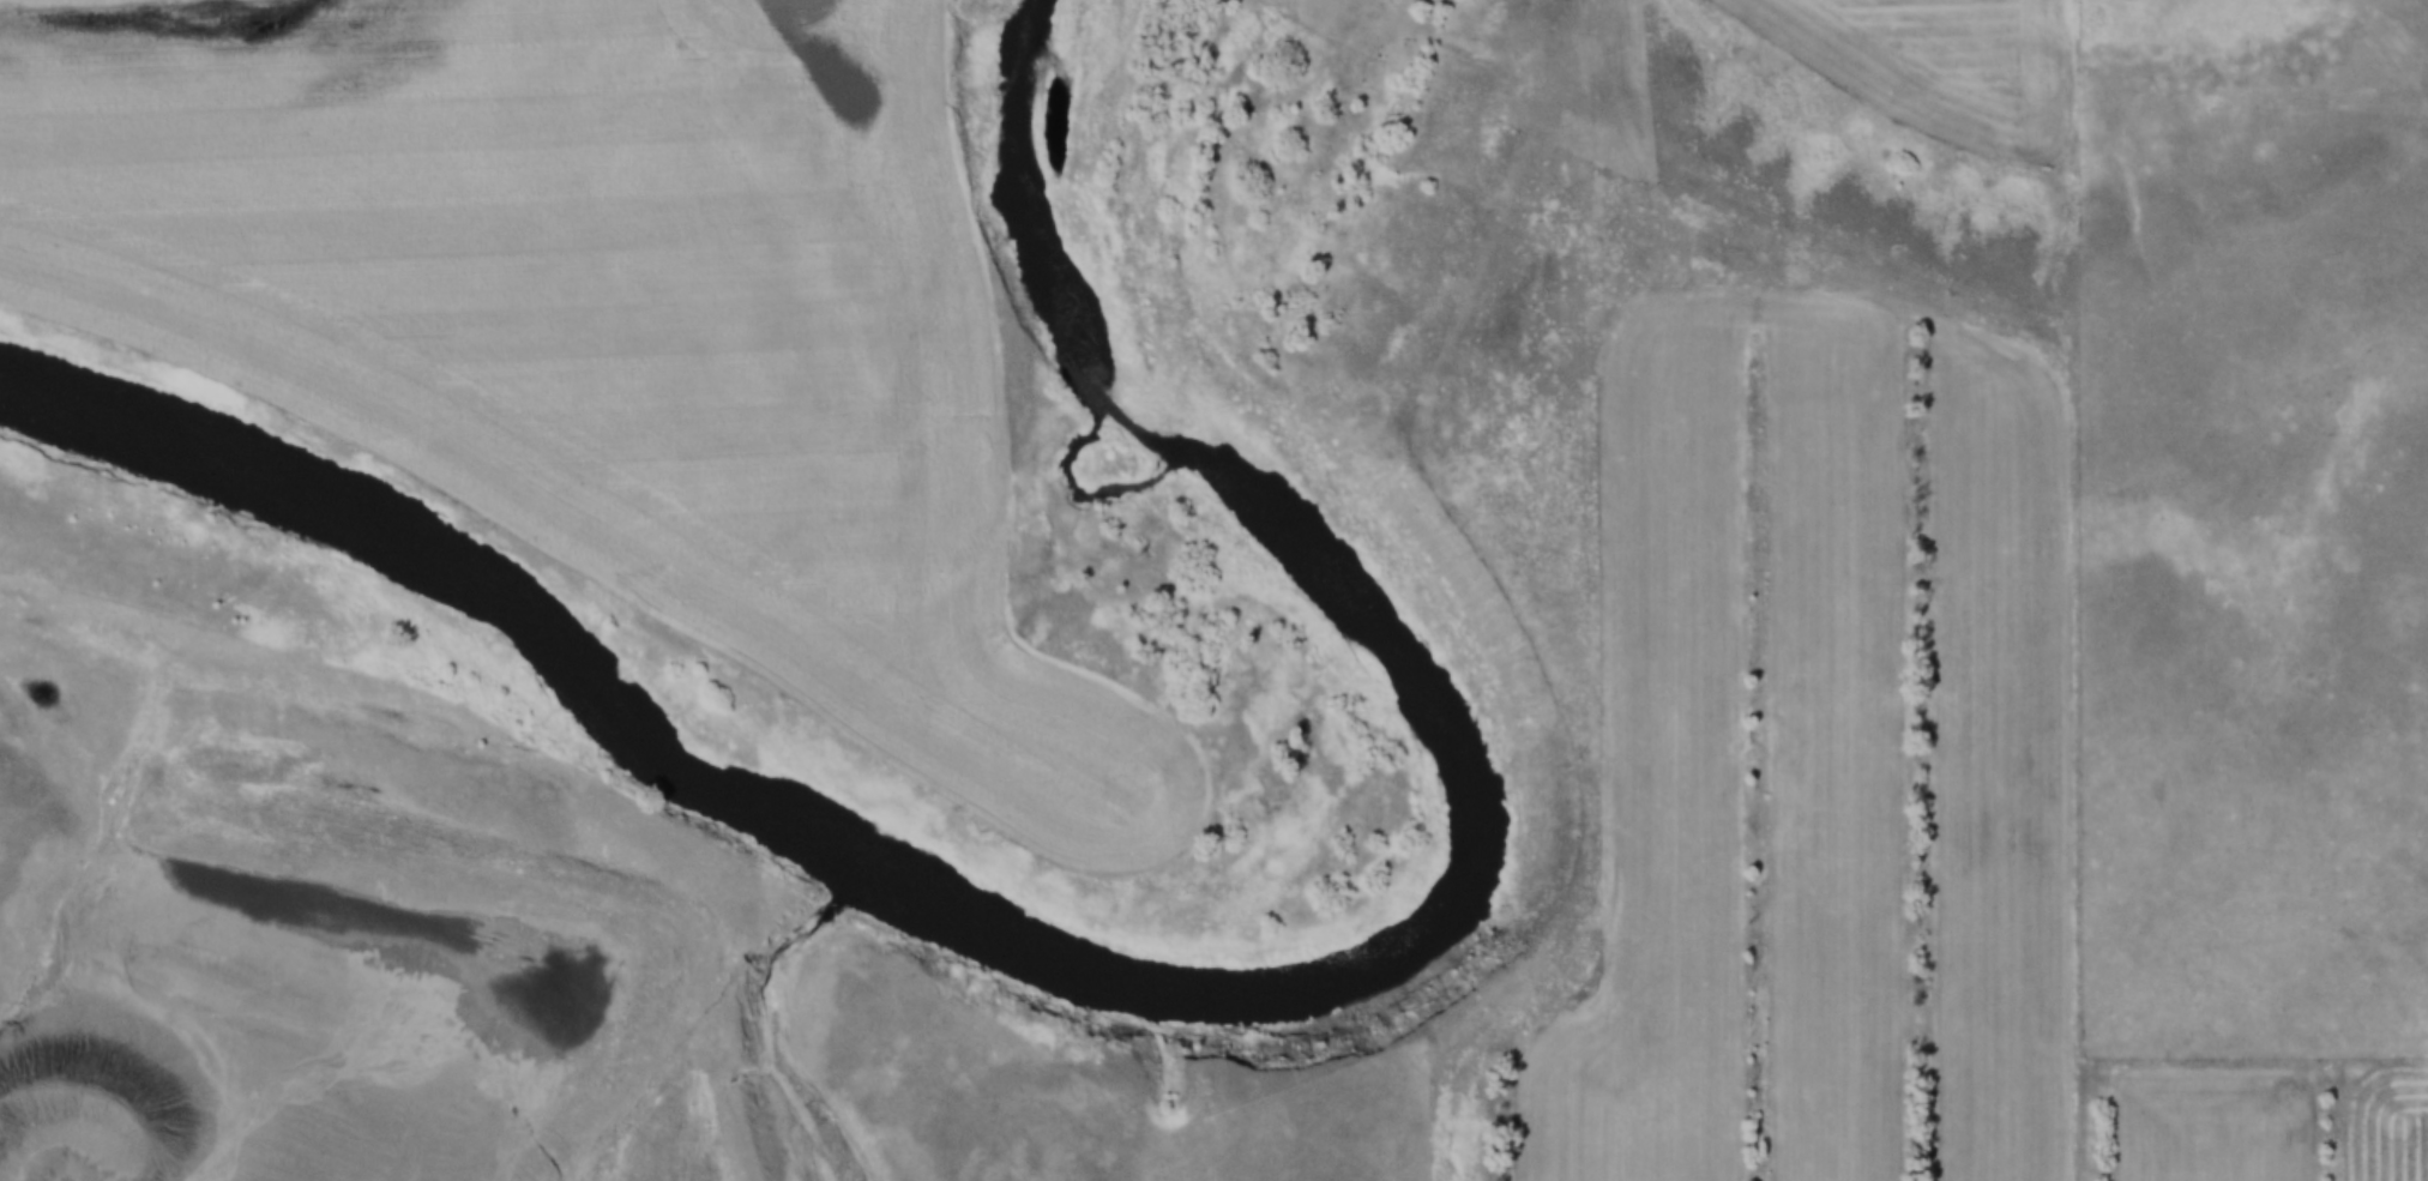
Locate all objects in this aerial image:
river: (1198, 977)
quarry: (348, 983)

